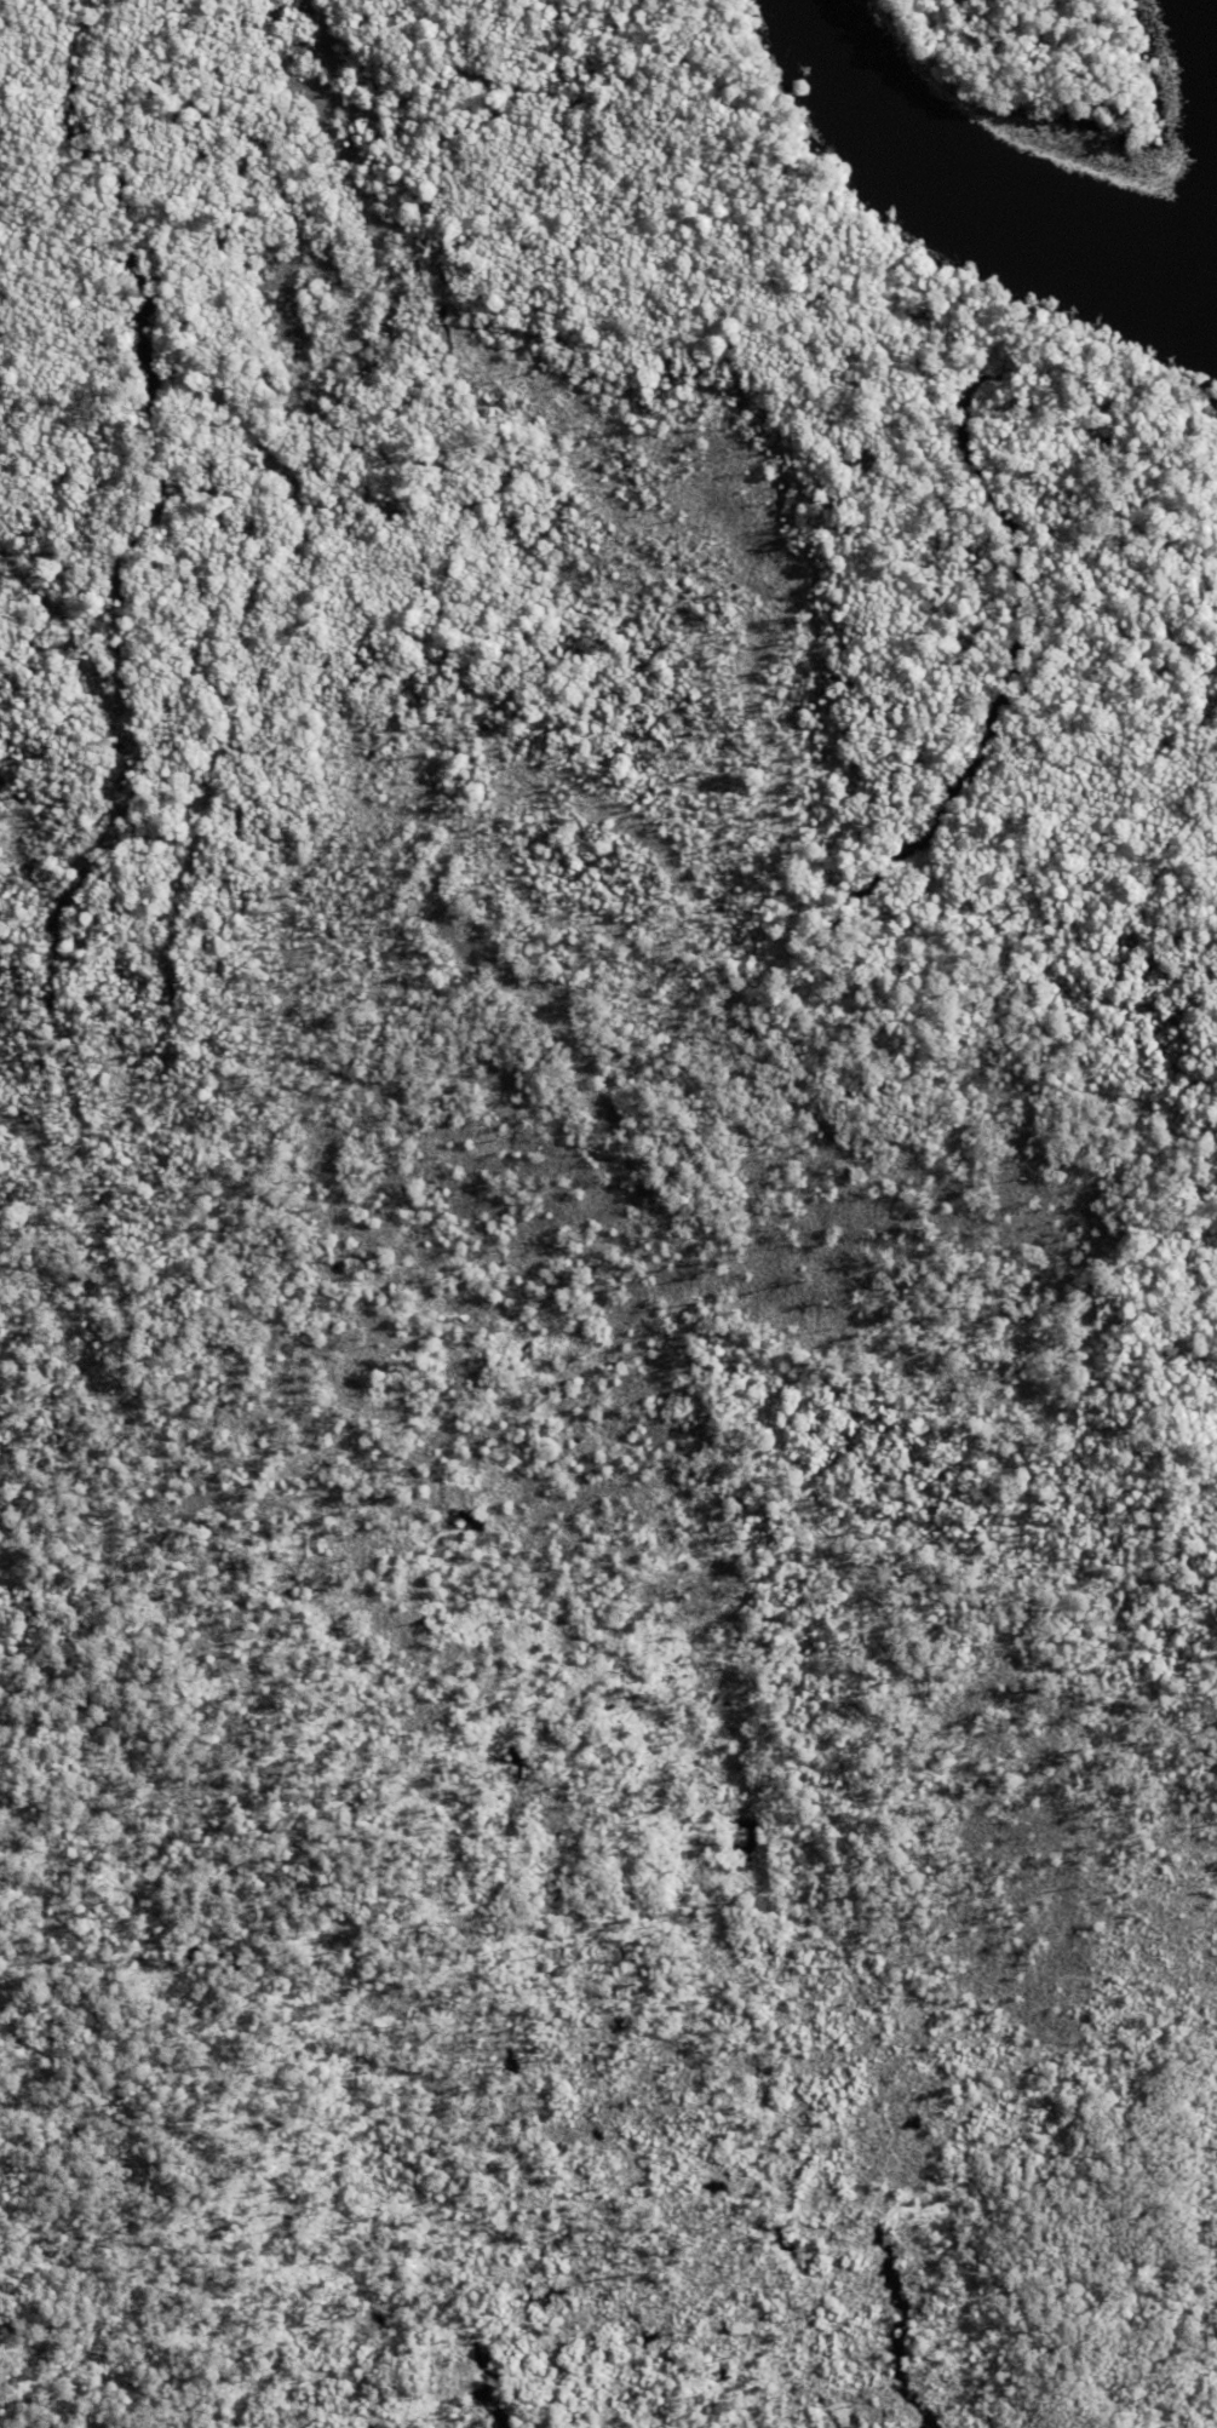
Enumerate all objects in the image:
river: (998, 166)

